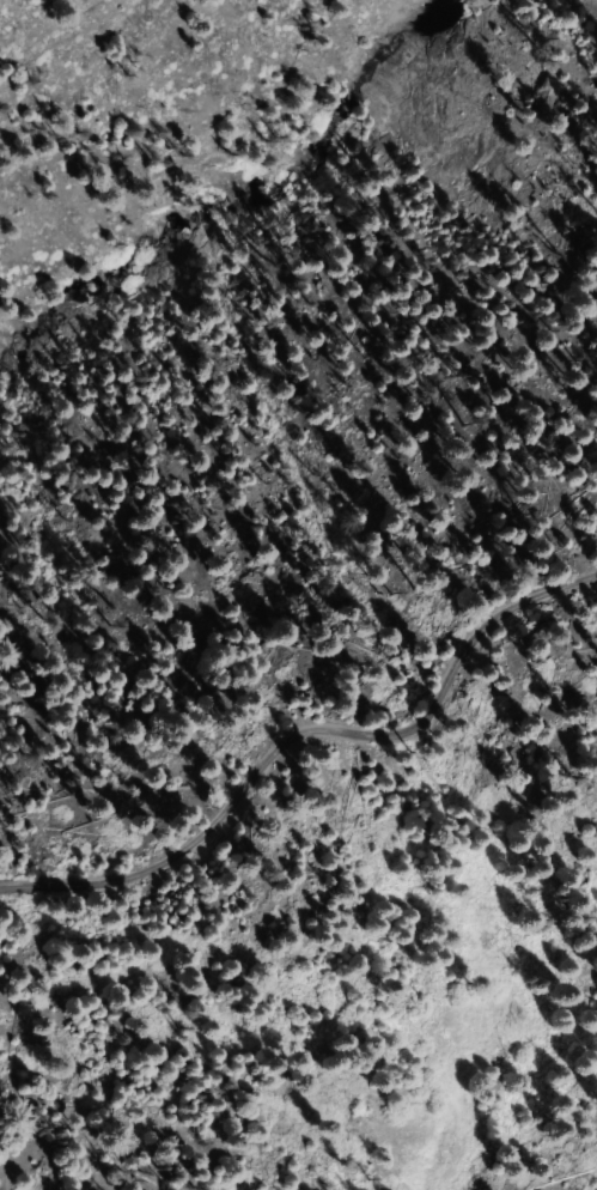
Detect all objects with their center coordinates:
road: (301, 730)

